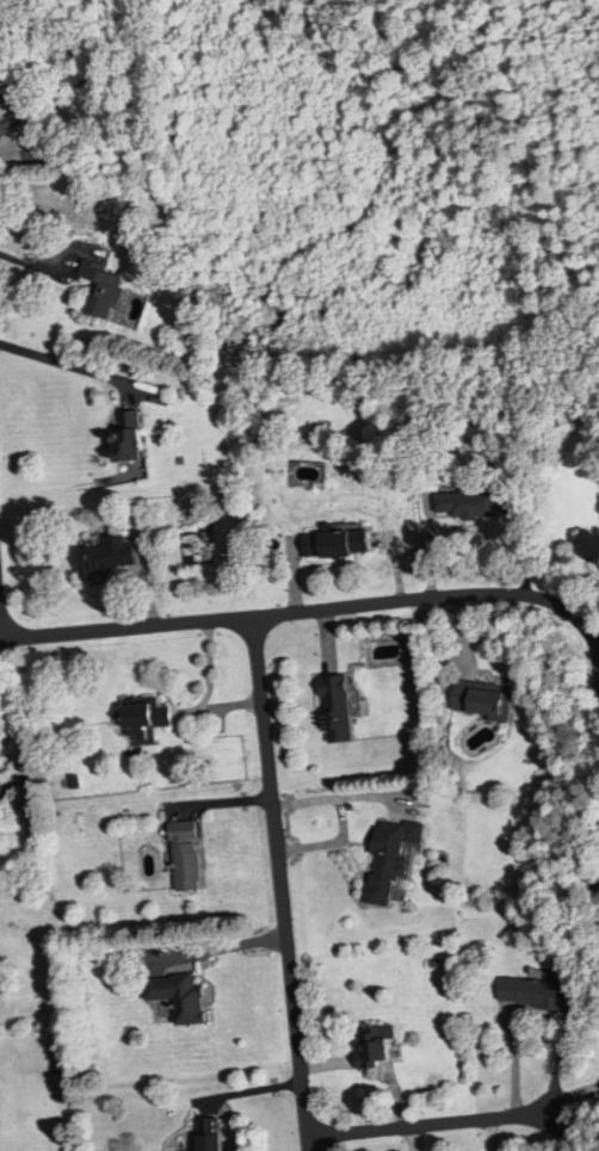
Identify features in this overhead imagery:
building: (10, 113)
road: (45, 118)
road: (32, 264)
building: (105, 287)
road: (64, 363)
building: (129, 435)
building: (465, 503)
road: (245, 542)
building: (336, 543)
building: (588, 545)
building: (106, 556)
road: (309, 611)
building: (483, 699)
building: (336, 707)
building: (147, 714)
building: (2, 792)
building: (190, 856)
building: (391, 859)
road: (279, 884)
building: (533, 992)
building: (180, 998)
building: (378, 1045)
road: (432, 1125)
building: (212, 1134)

